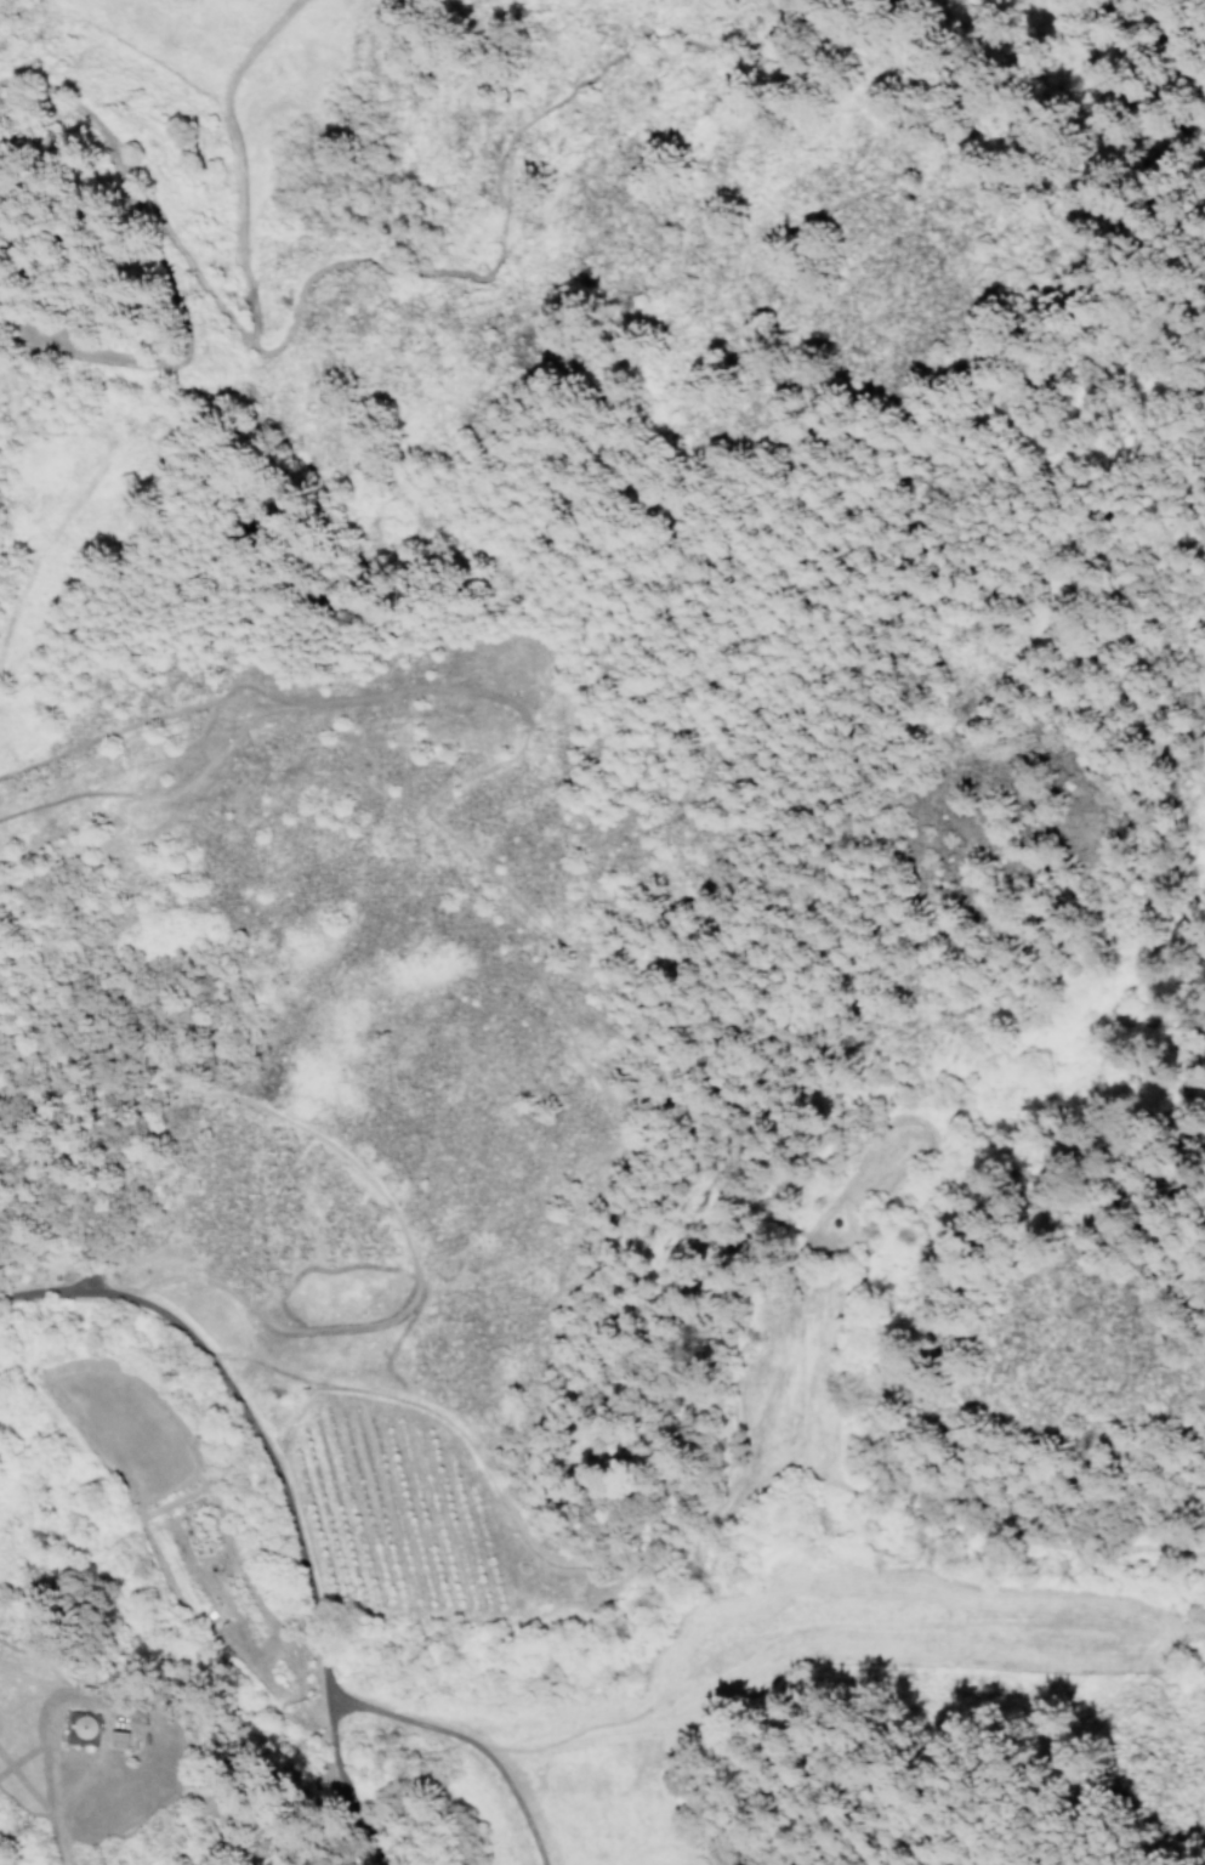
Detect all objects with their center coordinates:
road: (214, 1357)
crop: (165, 1493)
crop: (397, 1510)
road: (313, 1581)
road: (323, 1663)
building: (119, 1739)
road: (334, 1746)
road: (70, 1804)
road: (356, 1812)

